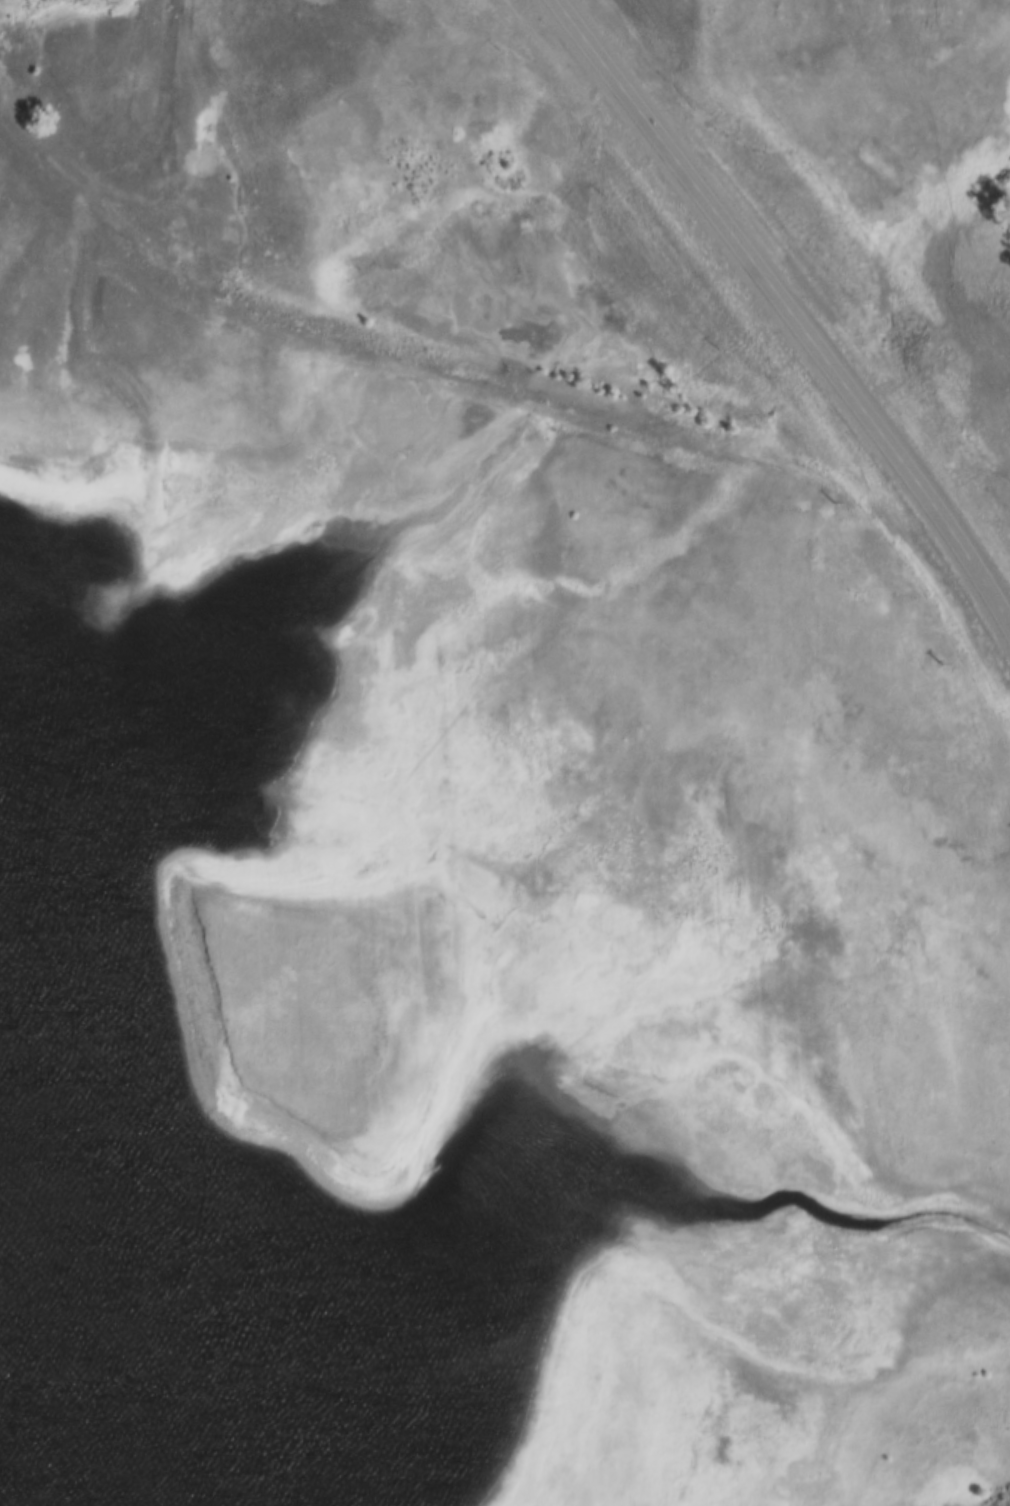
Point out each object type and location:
road: (785, 311)

